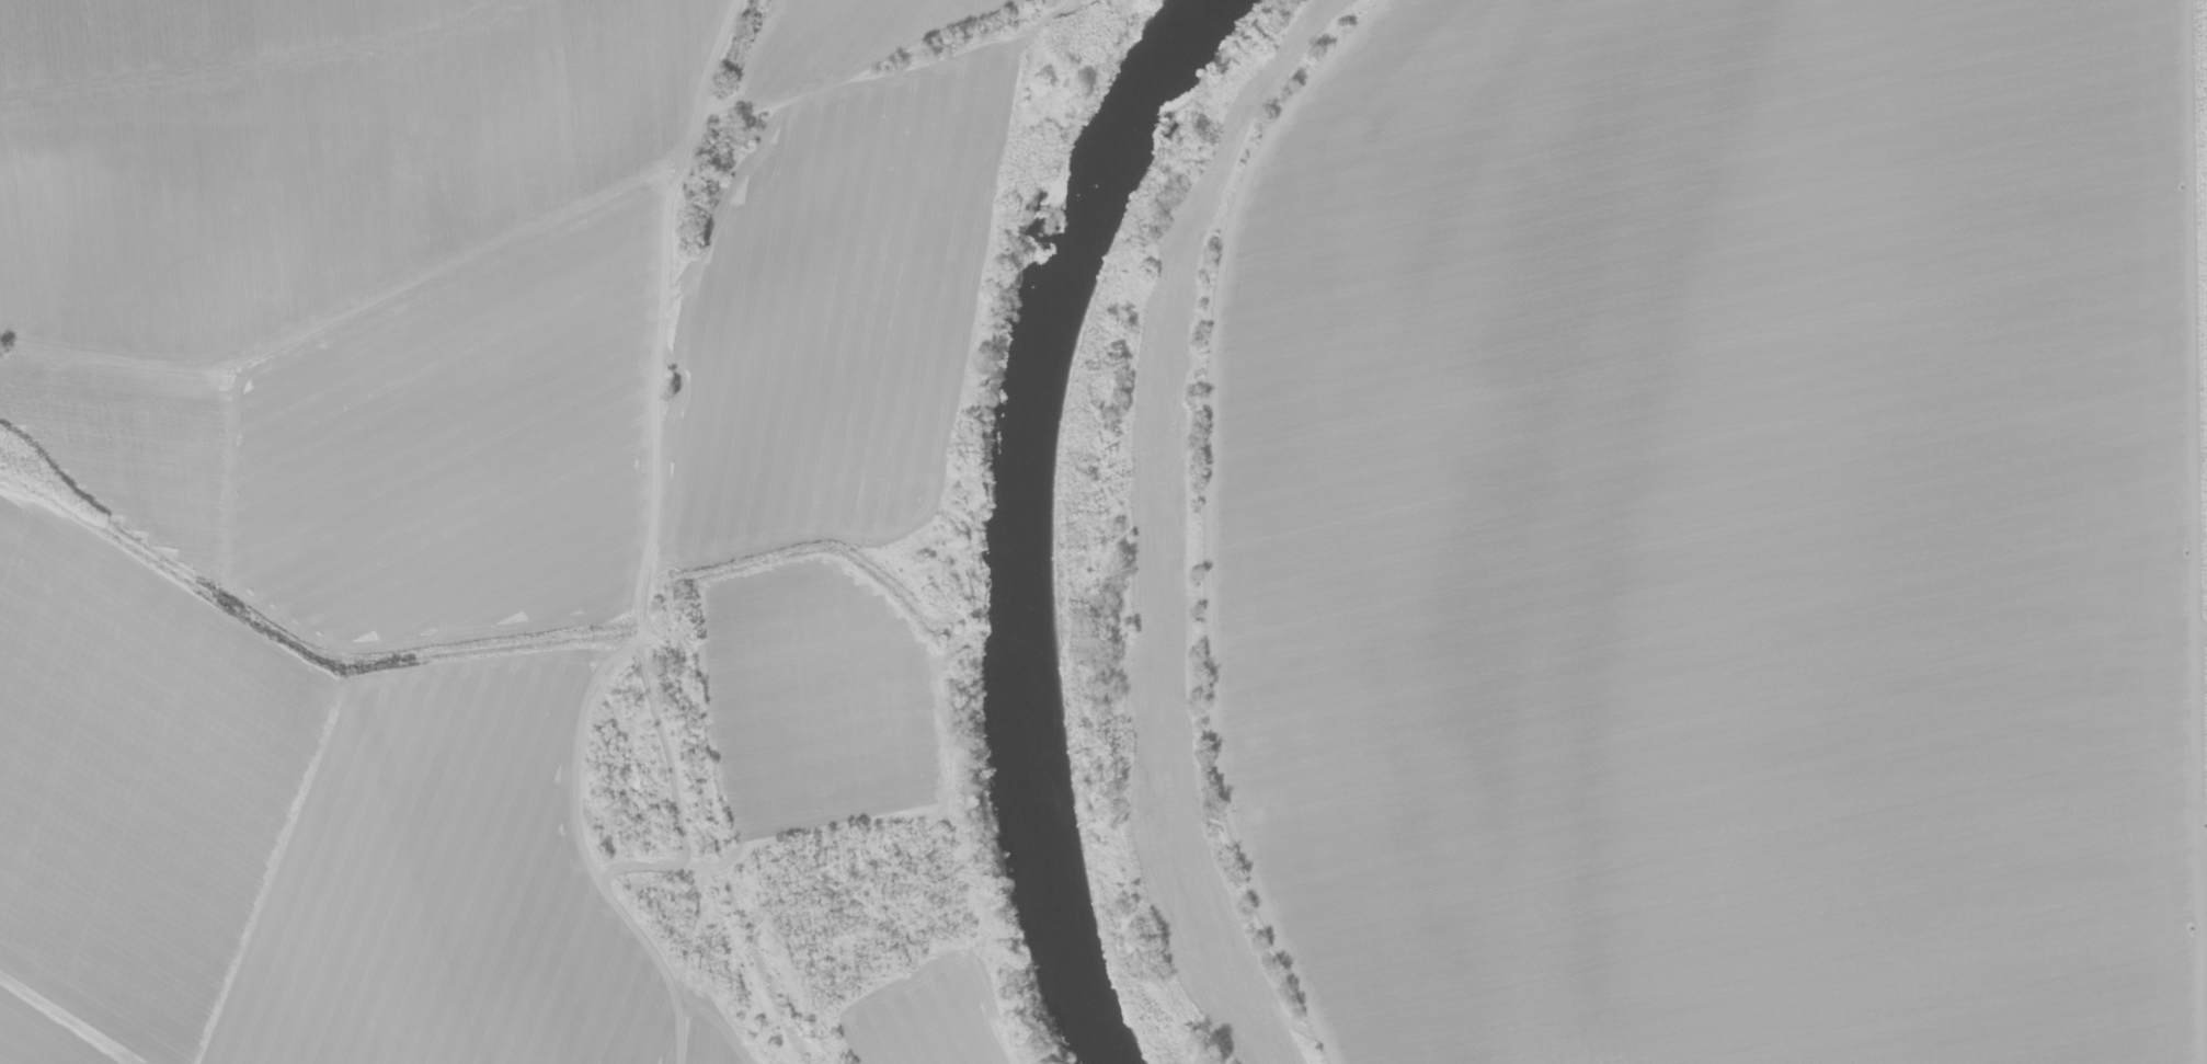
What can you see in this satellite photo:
road: (1204, 517)
river: (1031, 523)
road: (2188, 531)
road: (2198, 639)

